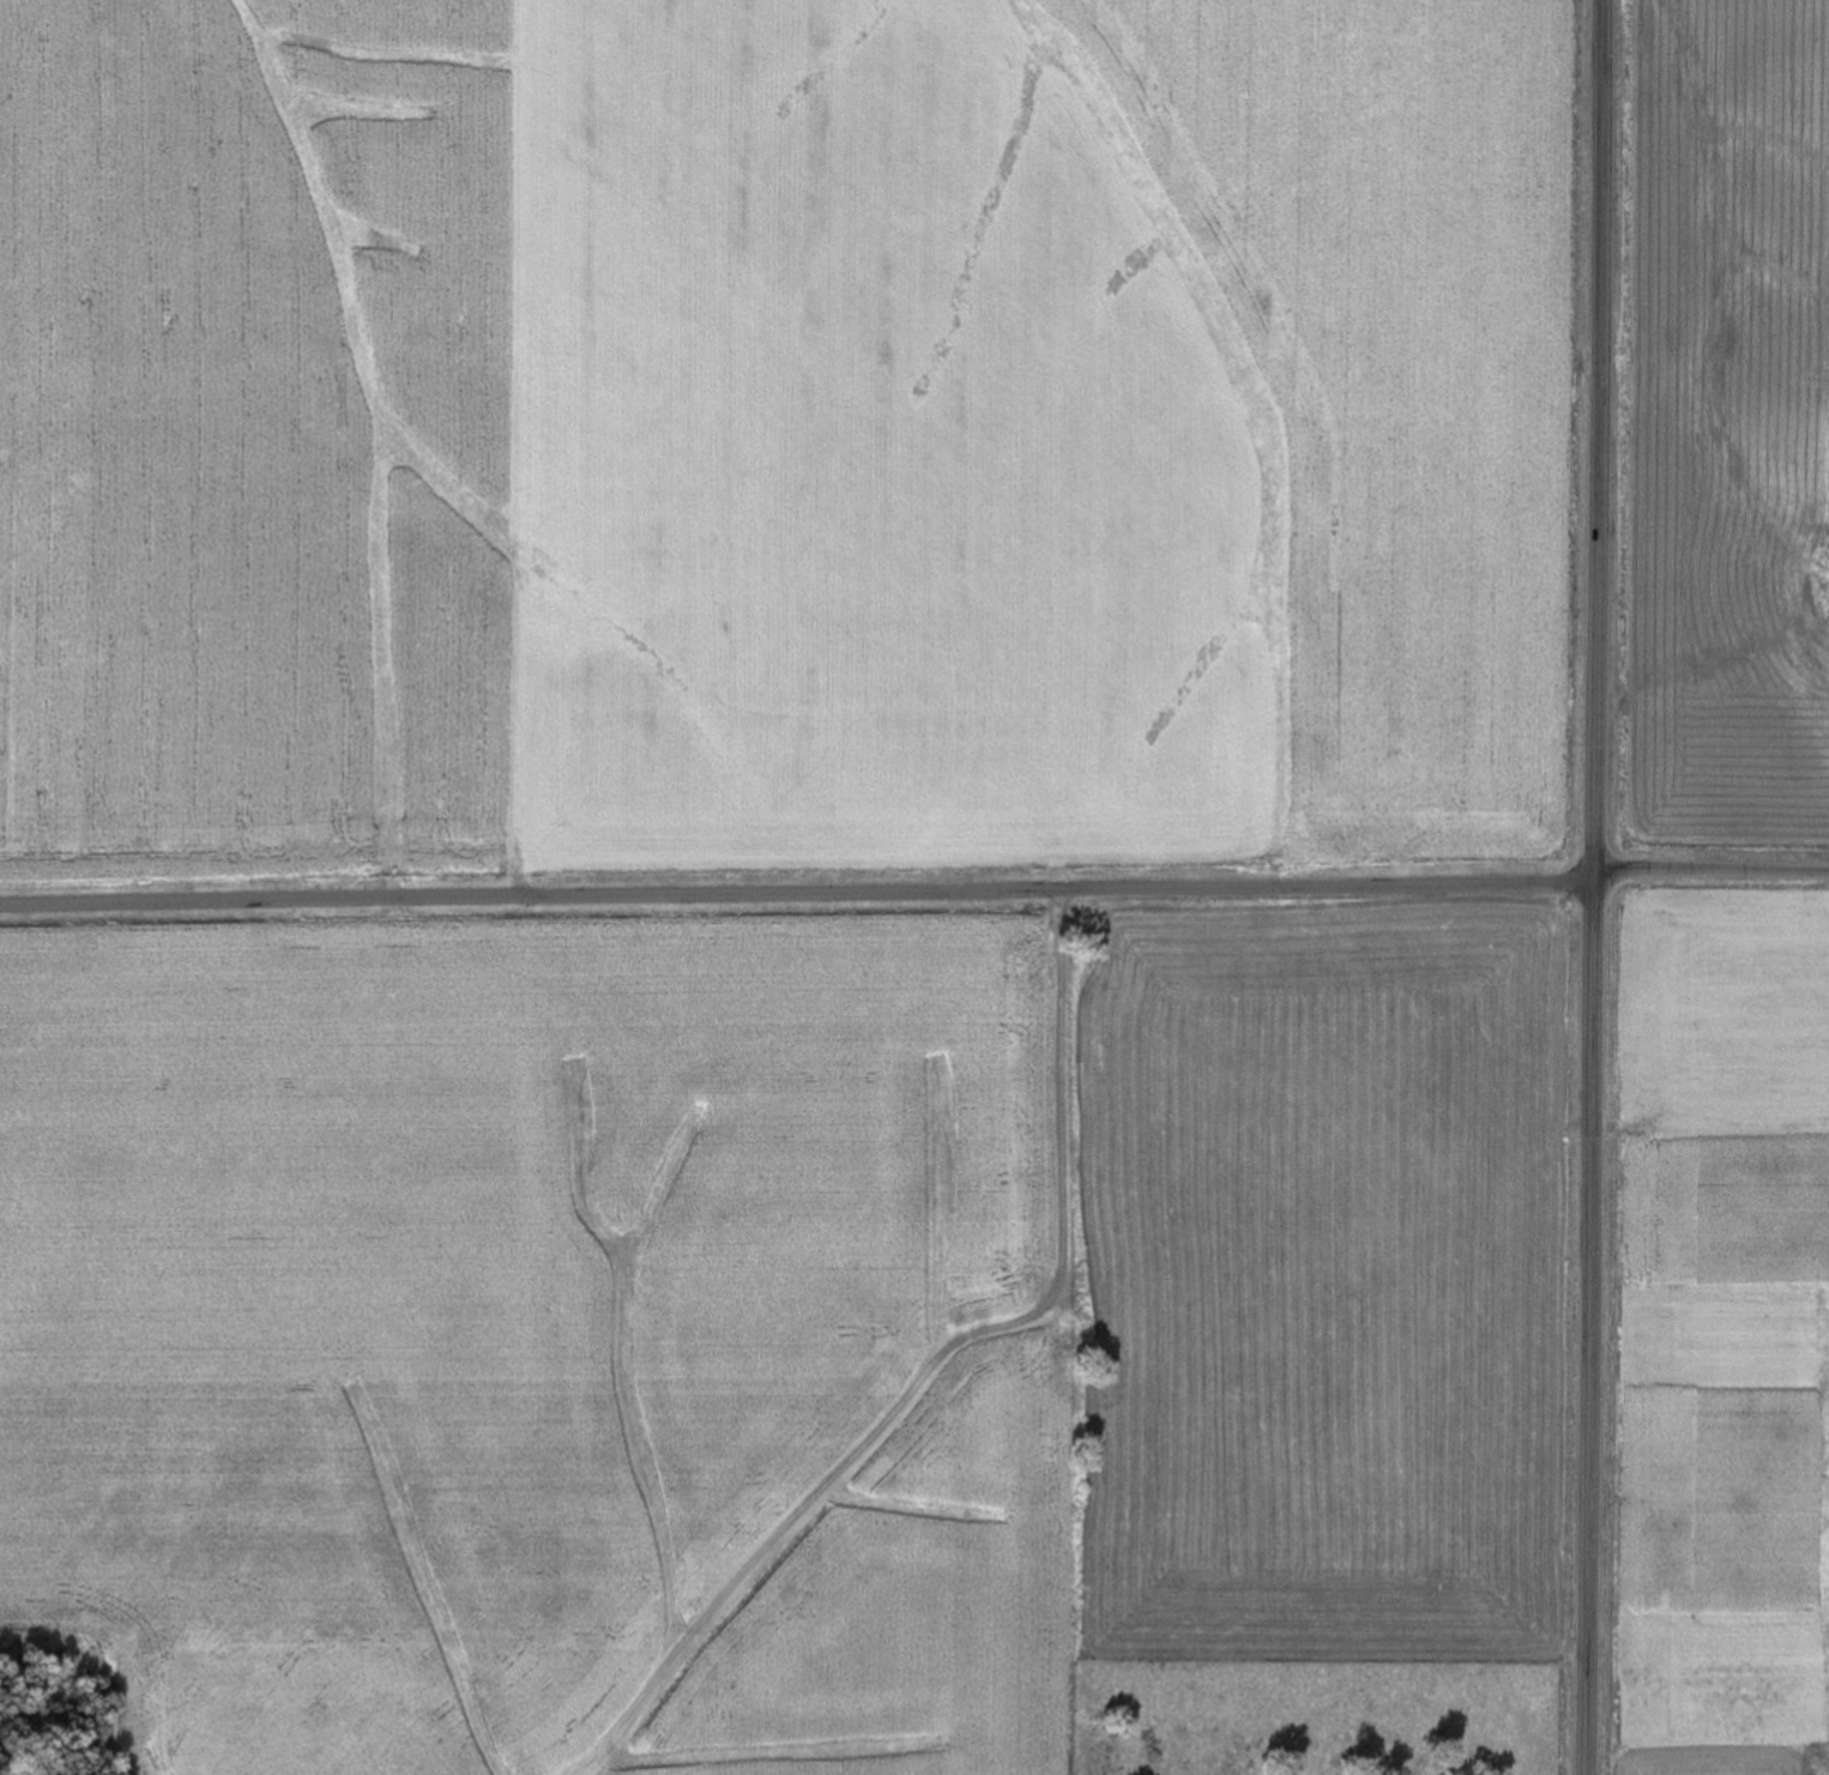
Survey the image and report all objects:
road: (1710, 870)
road: (1590, 887)
road: (795, 894)

